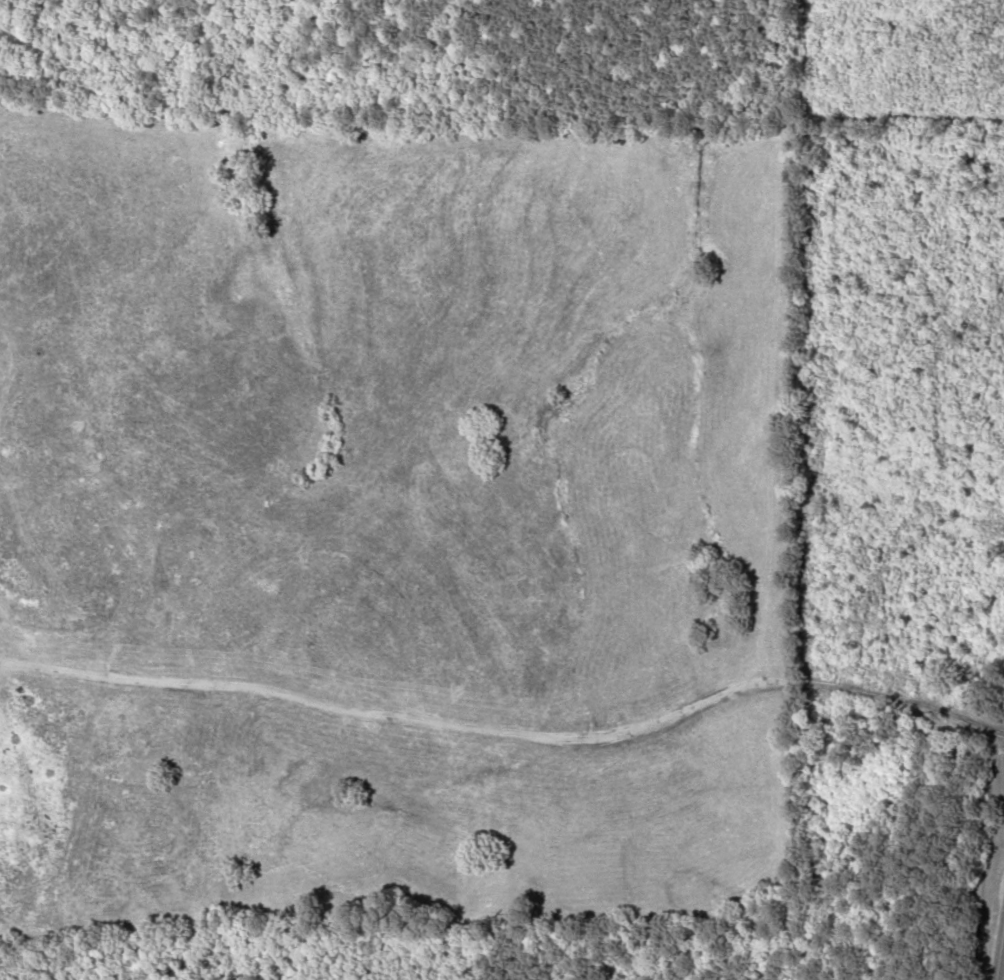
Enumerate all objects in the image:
road: (513, 747)
road: (1003, 976)

